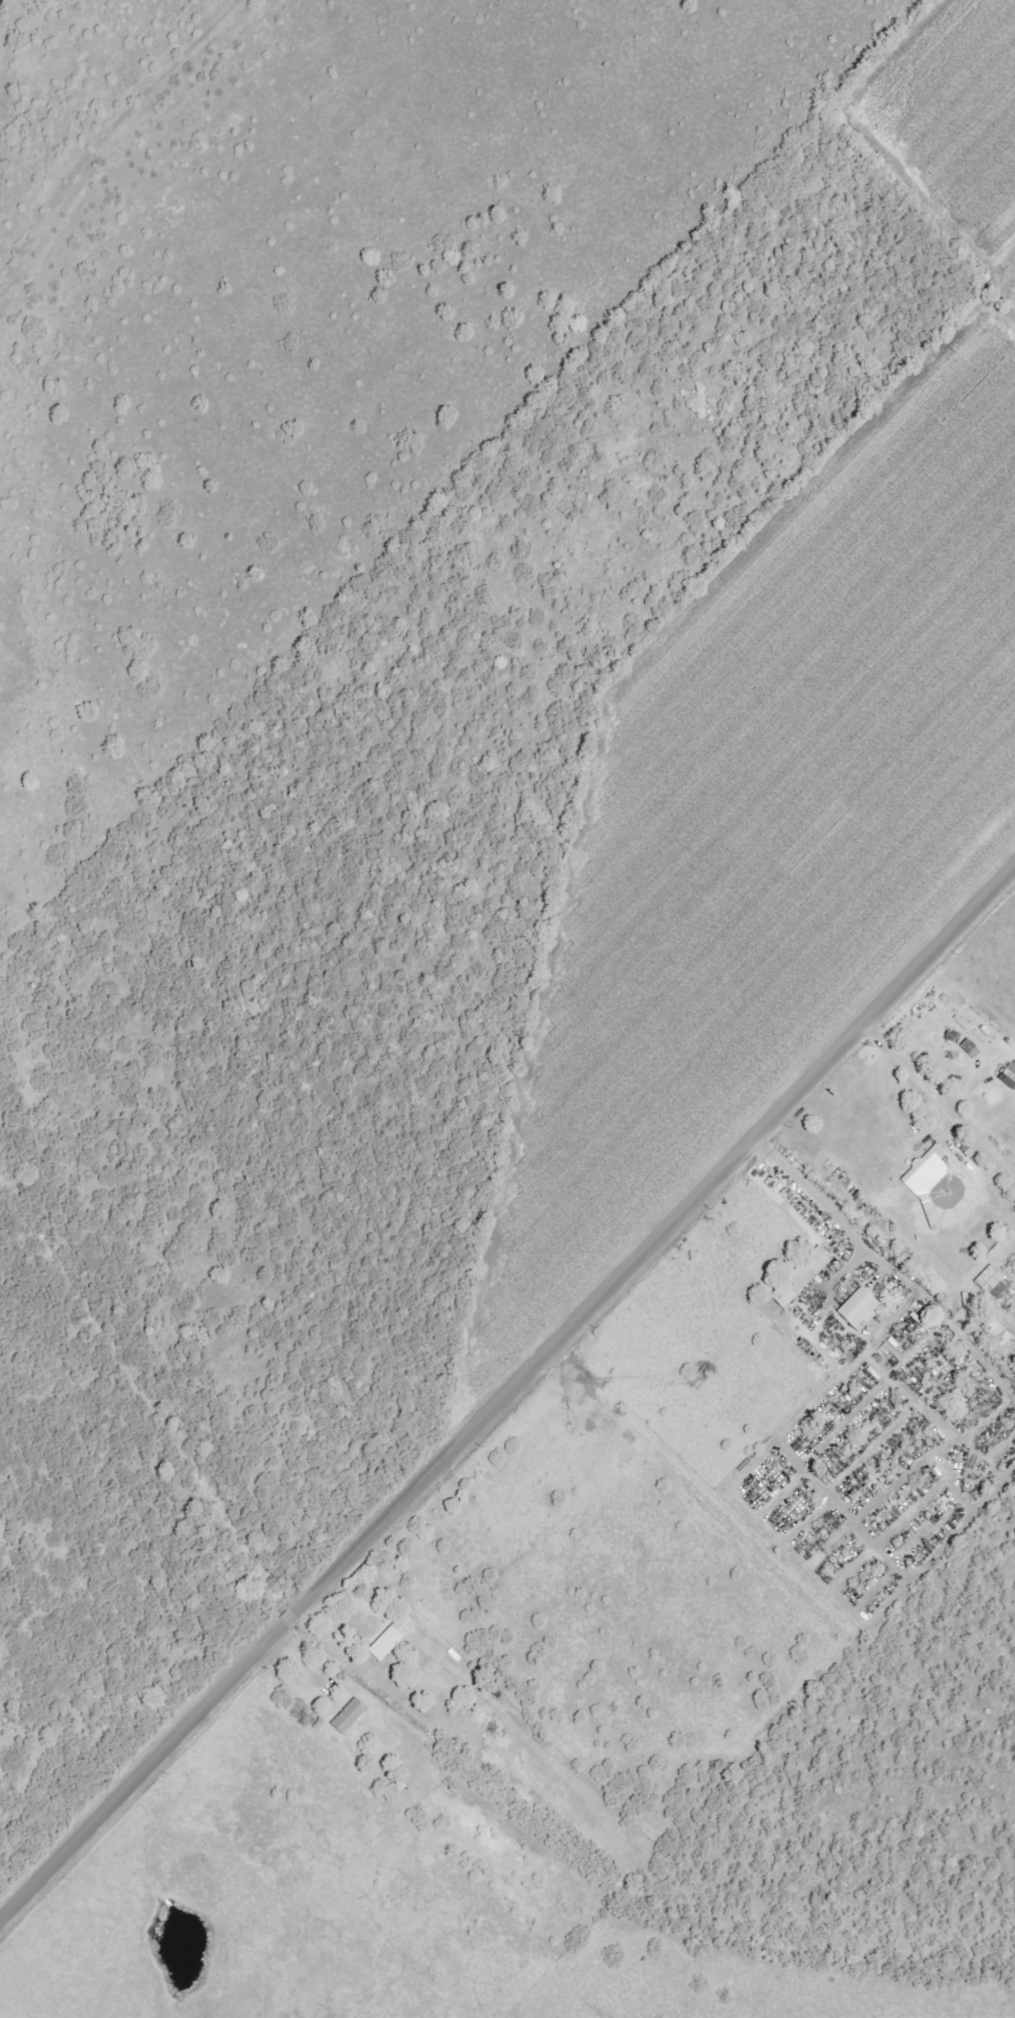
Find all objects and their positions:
building: (969, 1048)
building: (1008, 1074)
road: (940, 1100)
building: (938, 1190)
road: (813, 1194)
building: (800, 1277)
building: (990, 1281)
building: (858, 1309)
building: (995, 1331)
road: (508, 1397)
building: (390, 1638)
building: (347, 1715)

